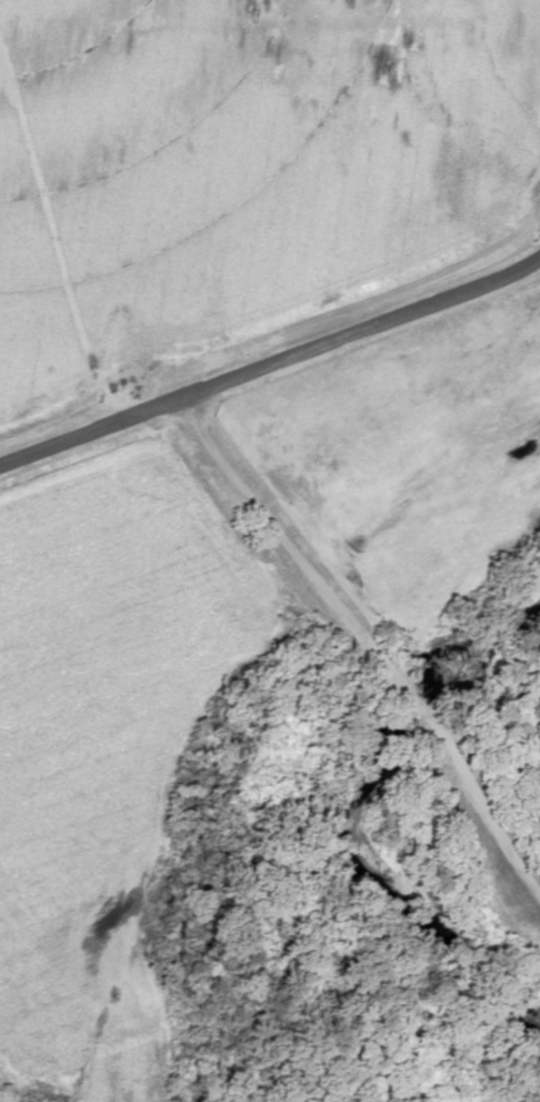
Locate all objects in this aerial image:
road: (272, 350)

